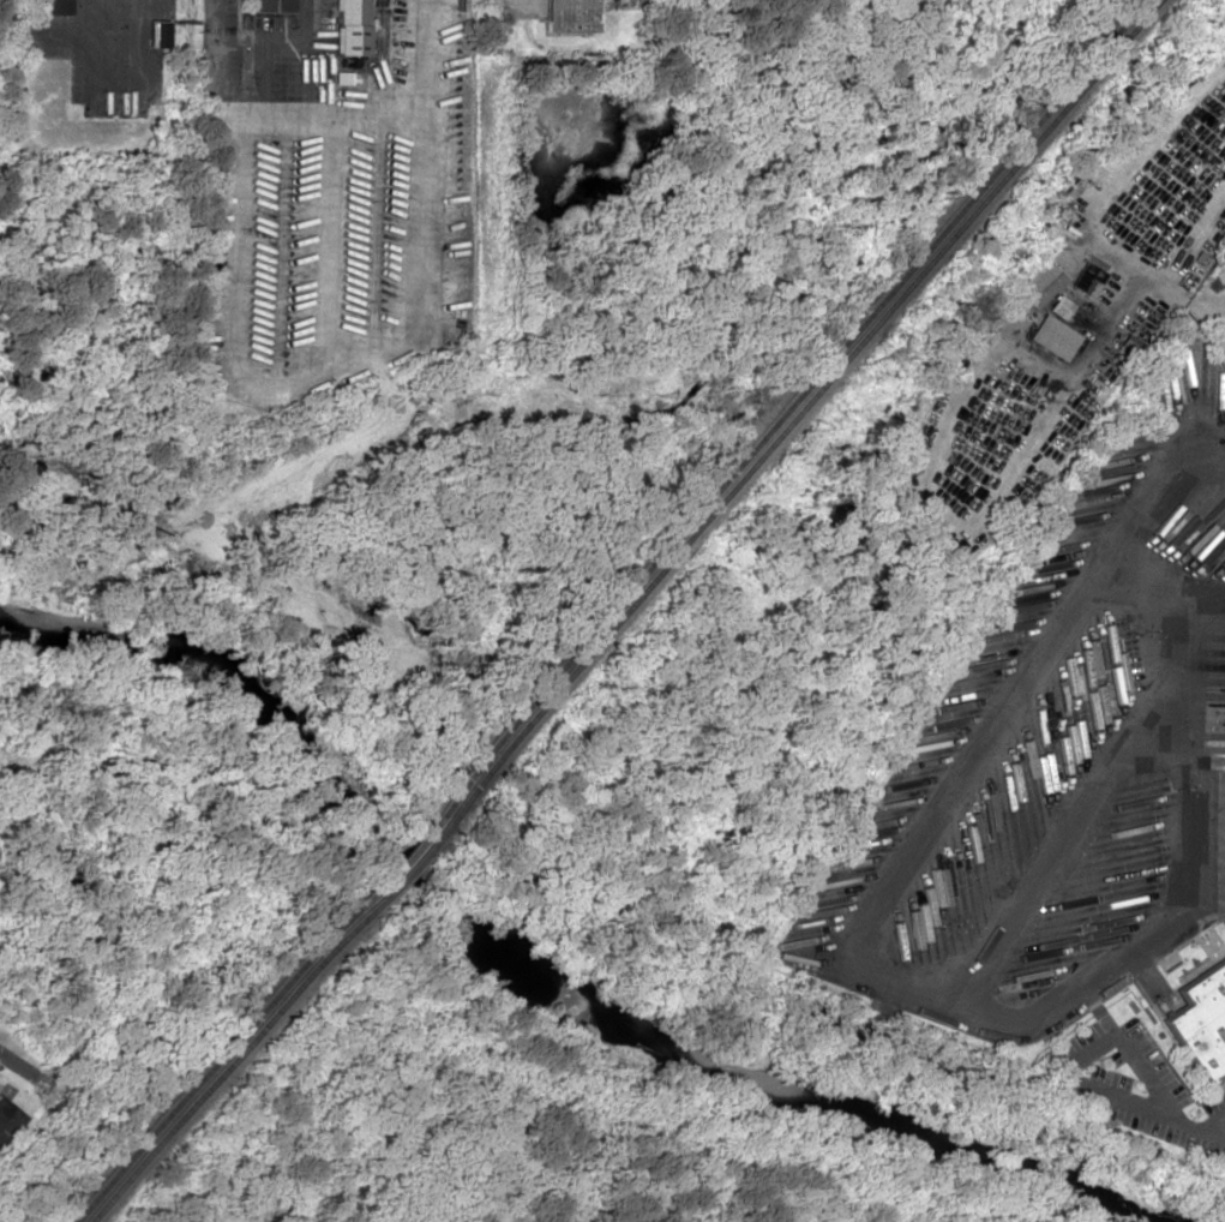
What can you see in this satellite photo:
building: (270, 6)
building: (49, 7)
building: (570, 16)
building: (349, 28)
building: (158, 35)
building: (1083, 278)
building: (1039, 284)
building: (1057, 307)
building: (1051, 337)
railway: (787, 408)
railway: (800, 412)
railway: (390, 862)
railway: (401, 871)
road: (897, 974)
river: (532, 982)
building: (1197, 1024)
road: (7, 1048)
railway: (212, 1065)
railway: (224, 1068)
building: (7, 1122)

